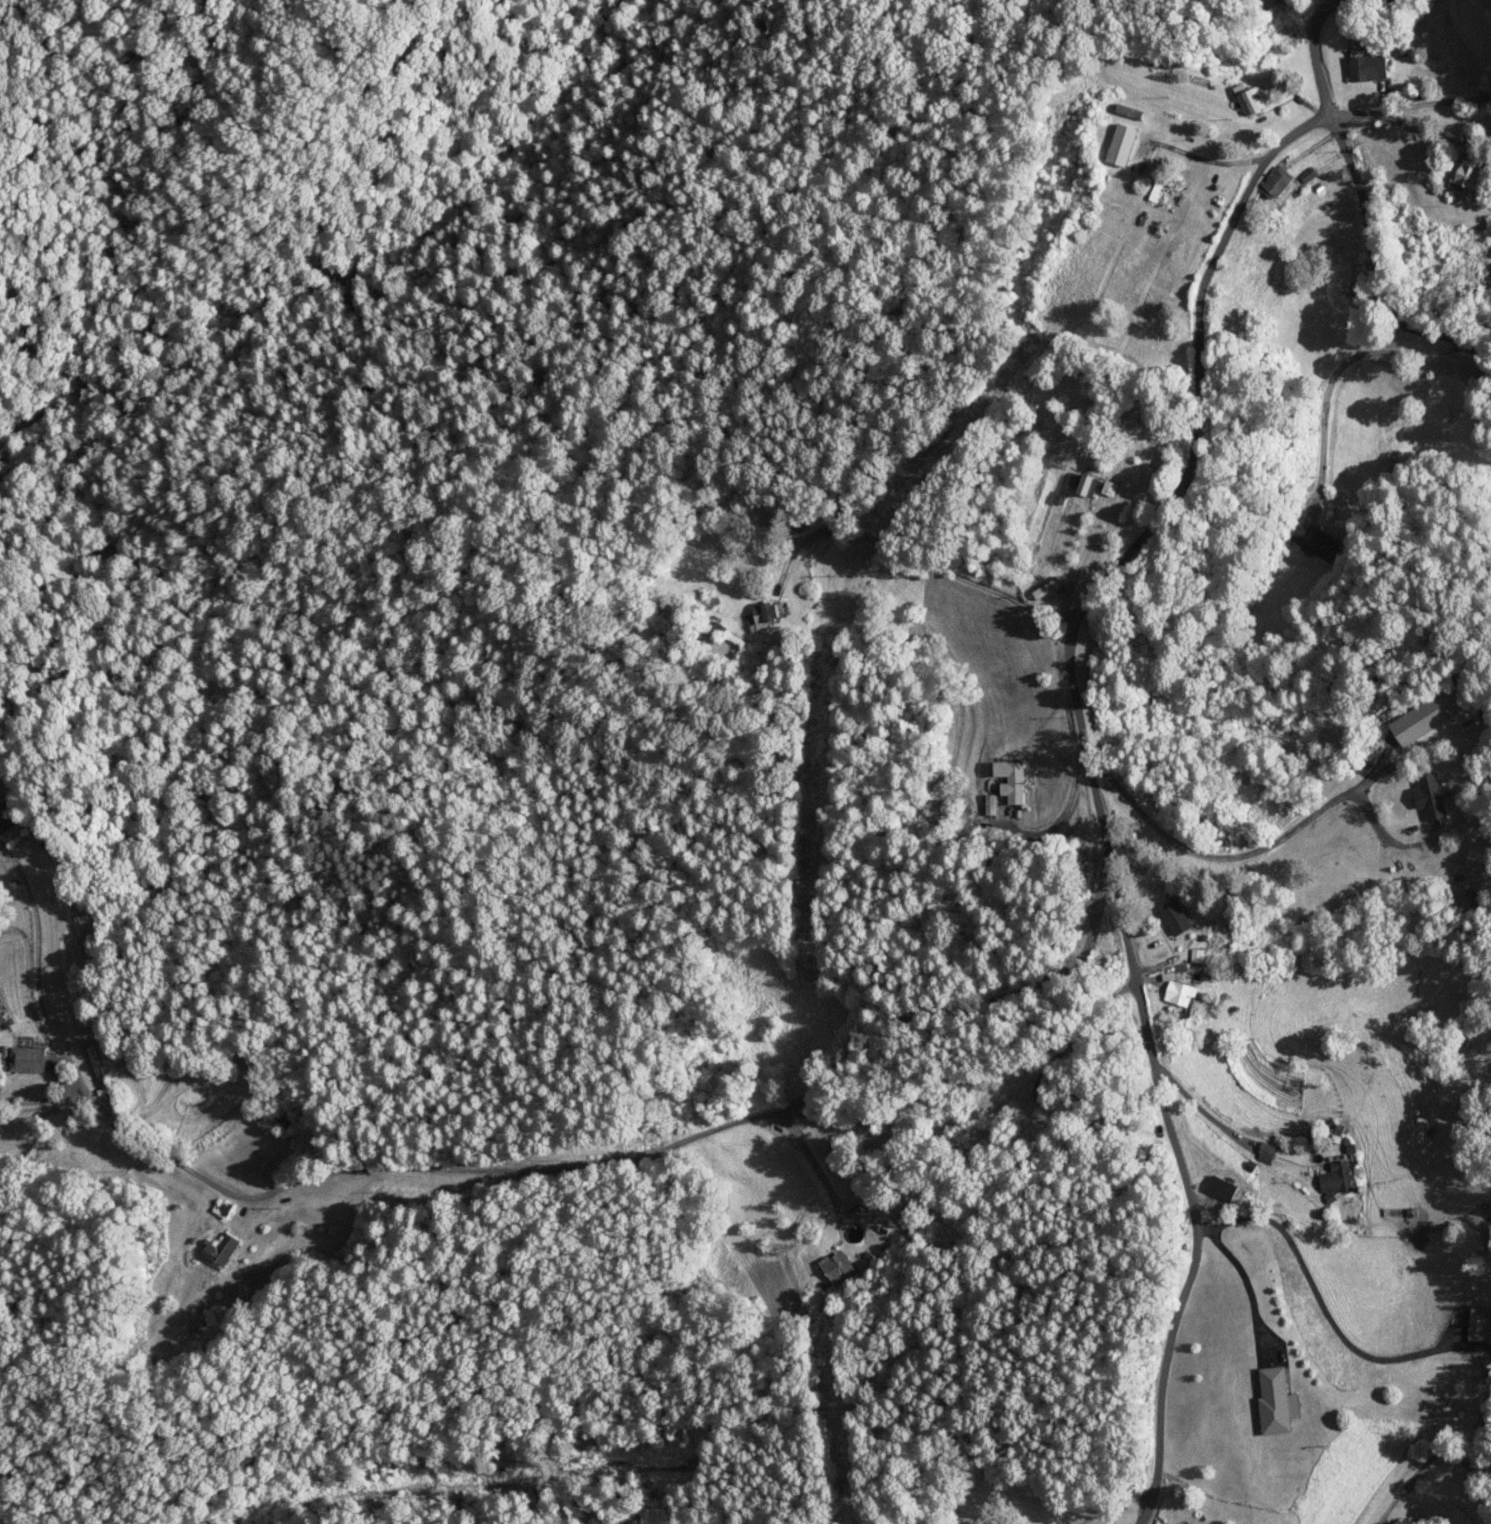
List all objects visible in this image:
building: (1369, 69)
road: (1416, 108)
building: (1123, 145)
building: (1466, 177)
building: (1278, 183)
road: (1349, 184)
road: (942, 482)
building: (1088, 485)
building: (1110, 488)
building: (799, 524)
building: (1314, 540)
building: (766, 614)
building: (717, 627)
building: (1421, 712)
building: (1012, 781)
building: (1432, 796)
road: (1085, 803)
building: (10, 828)
building: (1176, 917)
building: (1180, 993)
building: (28, 1060)
building: (98, 1064)
building: (289, 1122)
road: (559, 1147)
road: (1289, 1149)
building: (1269, 1150)
building: (1336, 1178)
building: (1223, 1189)
building: (221, 1252)
road: (141, 1256)
building: (839, 1268)
building: (1478, 1326)
road: (1364, 1387)
building: (1277, 1402)
road: (1135, 1520)

